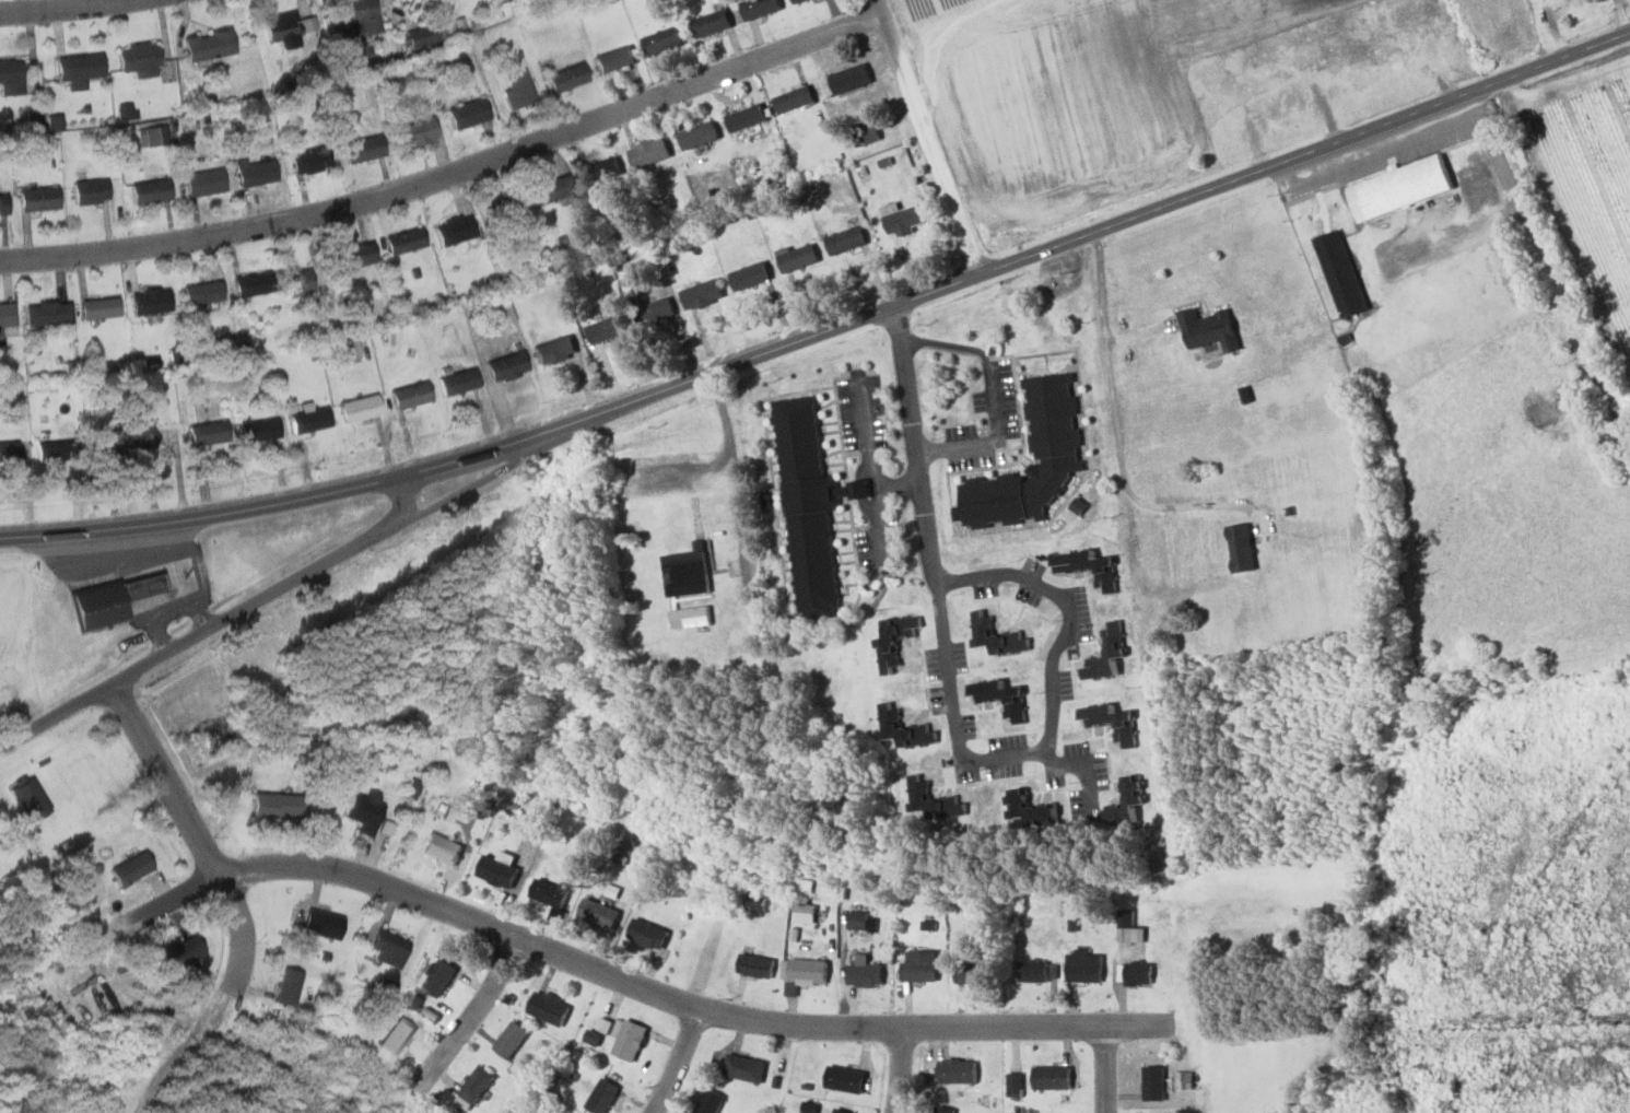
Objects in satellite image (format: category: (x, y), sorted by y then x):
building: (794, 1)
road: (60, 8)
building: (754, 8)
building: (350, 17)
building: (285, 24)
building: (707, 24)
building: (423, 34)
building: (659, 42)
building: (203, 44)
building: (437, 58)
building: (133, 59)
building: (612, 59)
road: (1550, 66)
building: (74, 69)
building: (9, 78)
building: (563, 78)
building: (847, 80)
building: (515, 87)
building: (390, 89)
building: (790, 101)
building: (125, 110)
building: (465, 113)
building: (742, 117)
building: (34, 118)
building: (55, 121)
building: (412, 132)
building: (863, 133)
building: (154, 136)
building: (695, 136)
road: (927, 138)
building: (360, 149)
building: (645, 153)
building: (306, 161)
building: (771, 164)
building: (600, 171)
road: (450, 172)
building: (251, 173)
building: (201, 181)
building: (1422, 184)
building: (87, 191)
building: (146, 191)
building: (544, 191)
road: (1200, 196)
building: (34, 198)
building: (1, 204)
building: (501, 207)
building: (898, 219)
building: (452, 229)
building: (842, 239)
building: (400, 241)
building: (352, 255)
building: (793, 258)
building: (1338, 273)
road: (1550, 274)
building: (746, 276)
building: (296, 282)
building: (248, 283)
building: (198, 292)
building: (697, 294)
building: (145, 301)
building: (93, 307)
building: (654, 311)
building: (44, 313)
building: (4, 315)
building: (601, 329)
building: (1206, 329)
building: (345, 348)
building: (552, 350)
road: (1104, 350)
road: (743, 359)
building: (509, 365)
building: (462, 382)
building: (408, 395)
road: (994, 397)
building: (356, 408)
building: (306, 419)
building: (1052, 424)
building: (255, 430)
building: (206, 433)
building: (120, 438)
building: (46, 450)
building: (8, 452)
road: (732, 464)
road: (870, 468)
road: (895, 487)
road: (407, 501)
road: (283, 502)
road: (1181, 505)
building: (806, 507)
road: (924, 531)
building: (1240, 547)
building: (1088, 567)
building: (682, 573)
building: (140, 585)
road: (281, 593)
building: (92, 606)
building: (687, 617)
building: (996, 636)
building: (892, 640)
road: (1055, 647)
building: (1106, 654)
building: (1000, 698)
building: (1110, 722)
building: (902, 727)
building: (1130, 790)
building: (918, 793)
building: (34, 799)
building: (272, 805)
building: (1023, 808)
building: (363, 811)
building: (439, 850)
building: (129, 868)
building: (496, 869)
building: (547, 894)
road: (236, 900)
building: (758, 906)
building: (804, 910)
building: (597, 914)
building: (857, 921)
building: (319, 923)
building: (1127, 926)
building: (646, 935)
building: (382, 947)
building: (177, 952)
building: (920, 965)
building: (757, 966)
building: (1086, 966)
building: (807, 972)
building: (1035, 972)
building: (972, 974)
building: (1139, 974)
building: (867, 975)
building: (438, 979)
building: (285, 987)
road: (643, 988)
building: (549, 1009)
road: (466, 1024)
building: (395, 1038)
building: (511, 1040)
building: (596, 1040)
building: (629, 1041)
road: (678, 1062)
building: (747, 1069)
road: (1106, 1069)
road: (901, 1071)
building: (959, 1073)
building: (1052, 1078)
building: (844, 1079)
building: (1154, 1083)
building: (1016, 1085)
building: (476, 1086)
building: (602, 1097)
building: (711, 1102)
building: (809, 1108)
building: (943, 1110)
building: (839, 1111)

